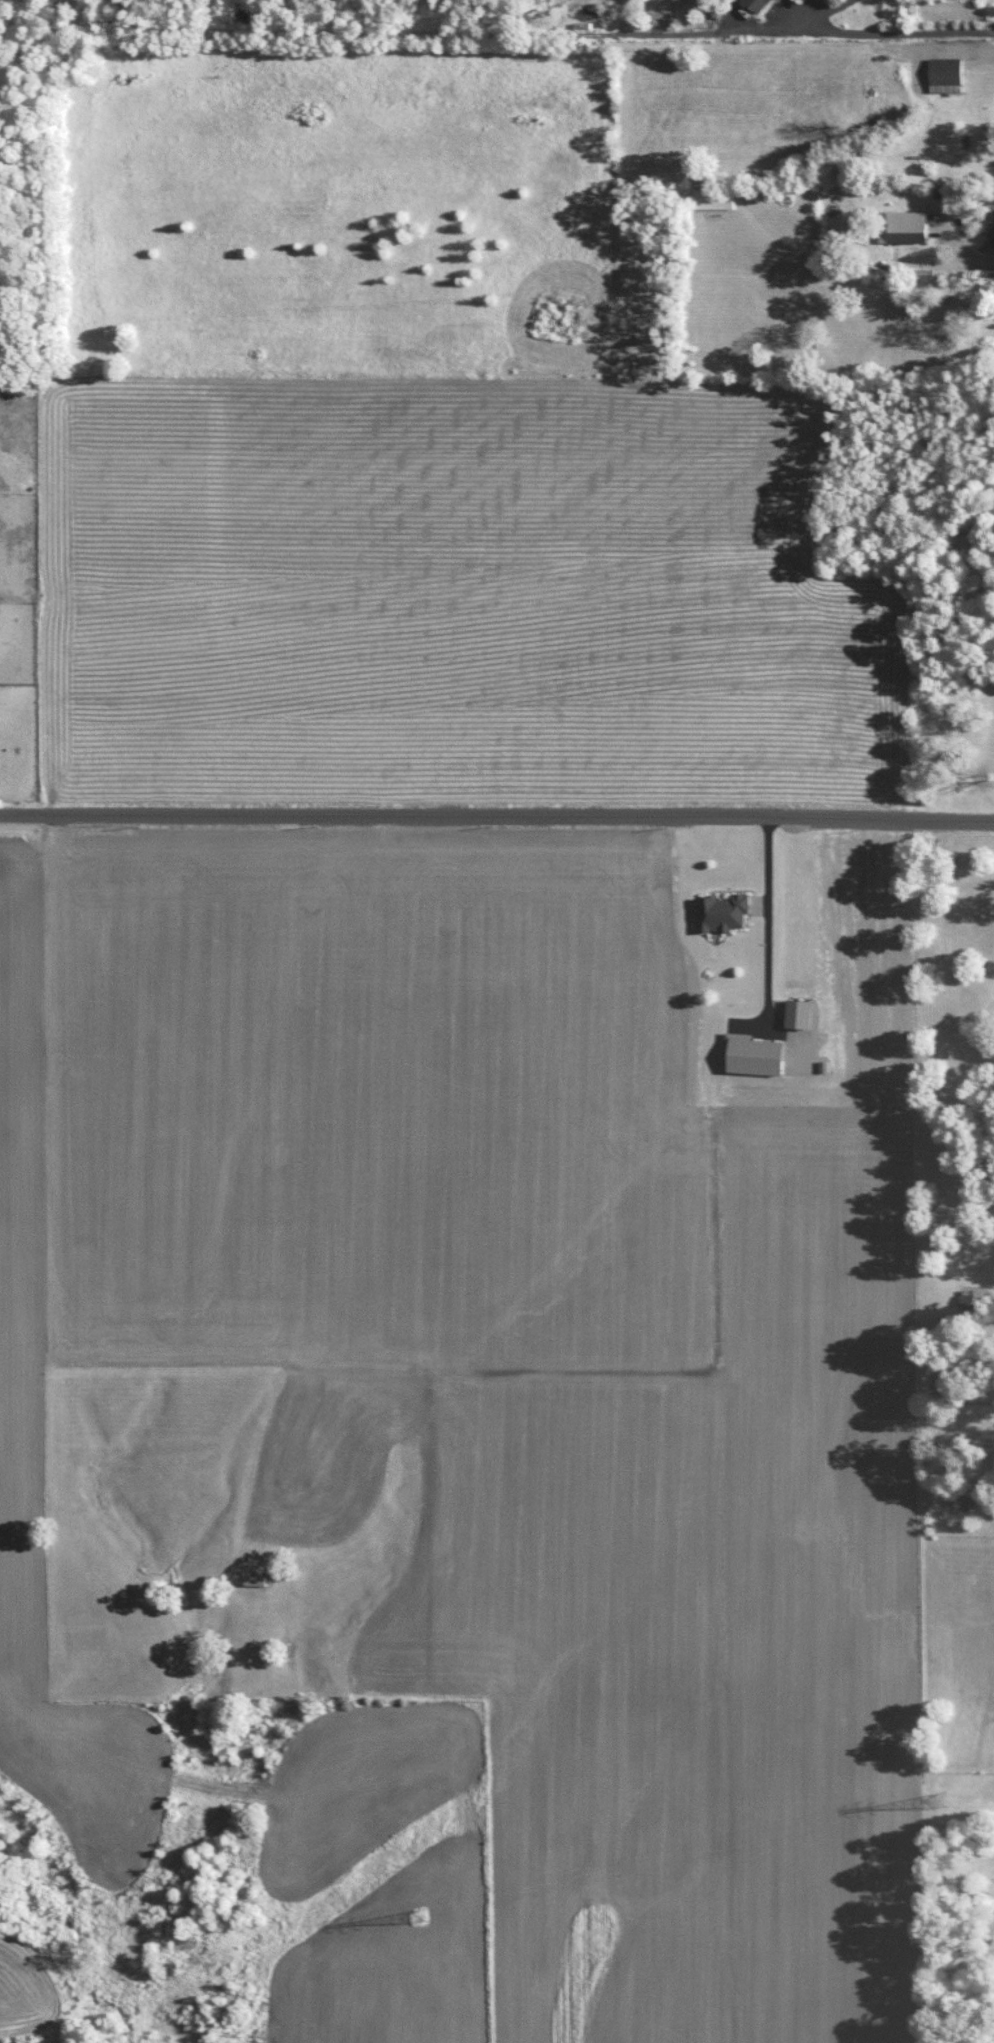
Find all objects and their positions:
building: (755, 5)
road: (835, 8)
road: (905, 33)
building: (944, 68)
building: (713, 198)
building: (905, 225)
road: (976, 263)
road: (497, 815)
building: (721, 912)
road: (768, 919)
building: (796, 1014)
building: (751, 1054)
building: (253, 1578)
power tower: (943, 1801)
power tower: (420, 1914)

